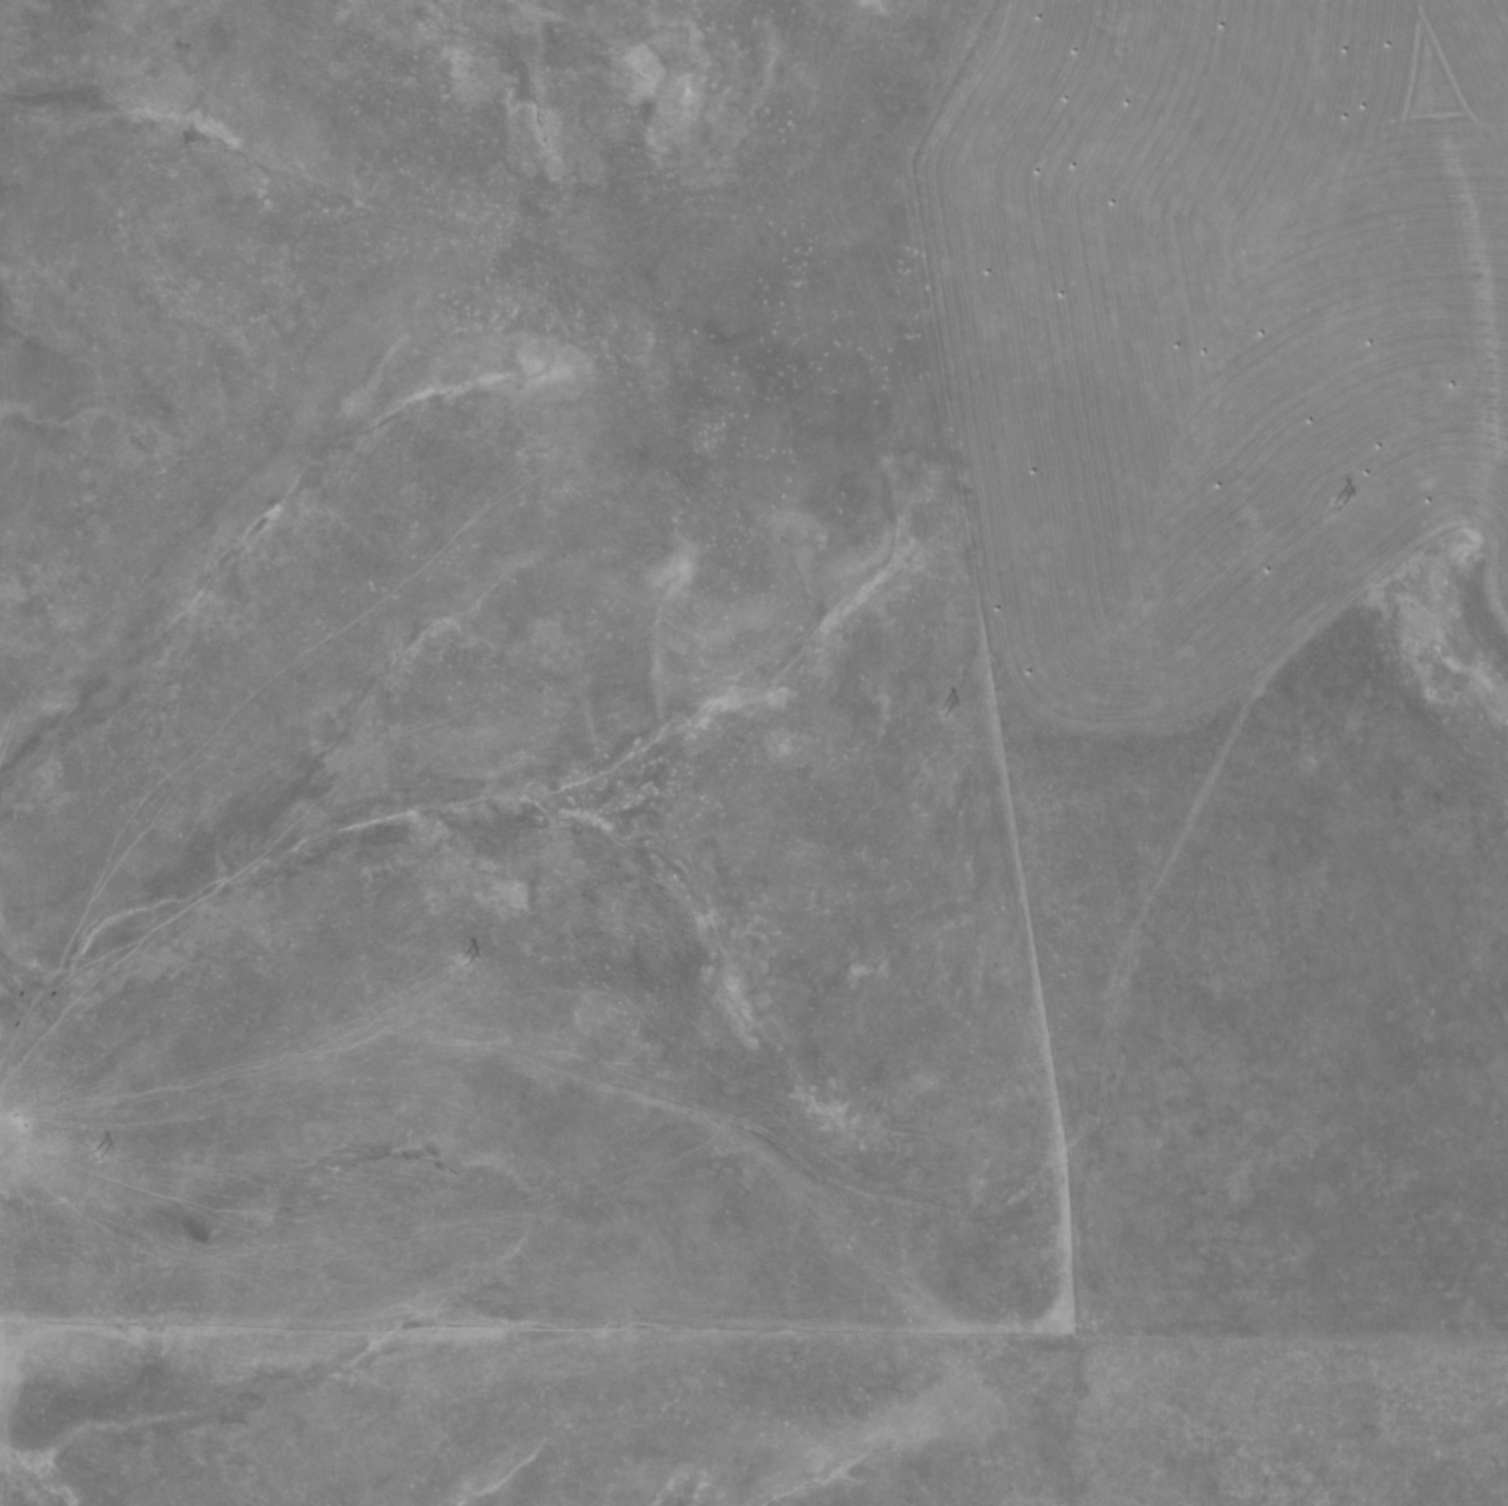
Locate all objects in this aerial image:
power tower: (1335, 505)
power tower: (937, 712)
road: (1221, 759)
power tower: (460, 962)
road: (531, 1060)
power tower: (94, 1153)
road: (1051, 1341)

